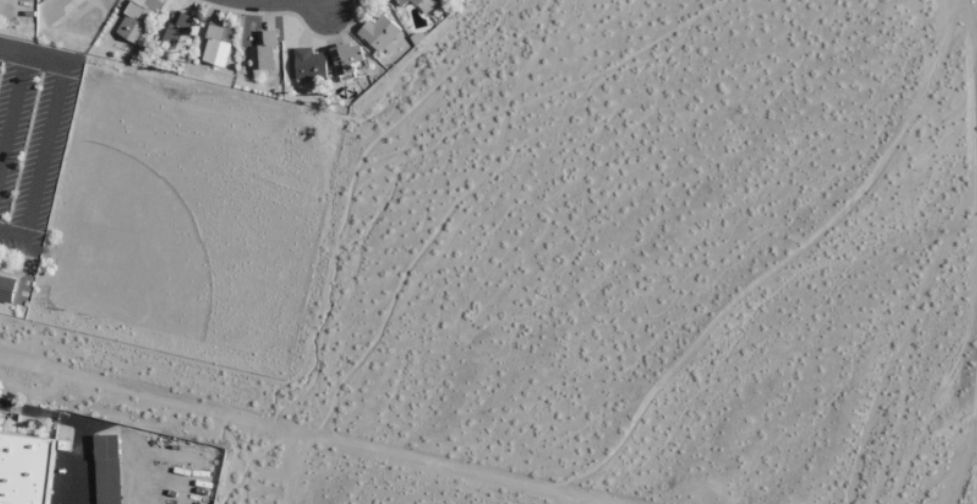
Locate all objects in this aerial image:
building: (400, 2)
building: (424, 5)
building: (129, 23)
building: (172, 30)
building: (380, 34)
building: (214, 47)
building: (262, 50)
building: (348, 61)
building: (308, 66)
road: (12, 107)
road: (45, 130)
building: (5, 288)
road: (74, 424)
road: (346, 427)
building: (22, 468)
building: (104, 470)

